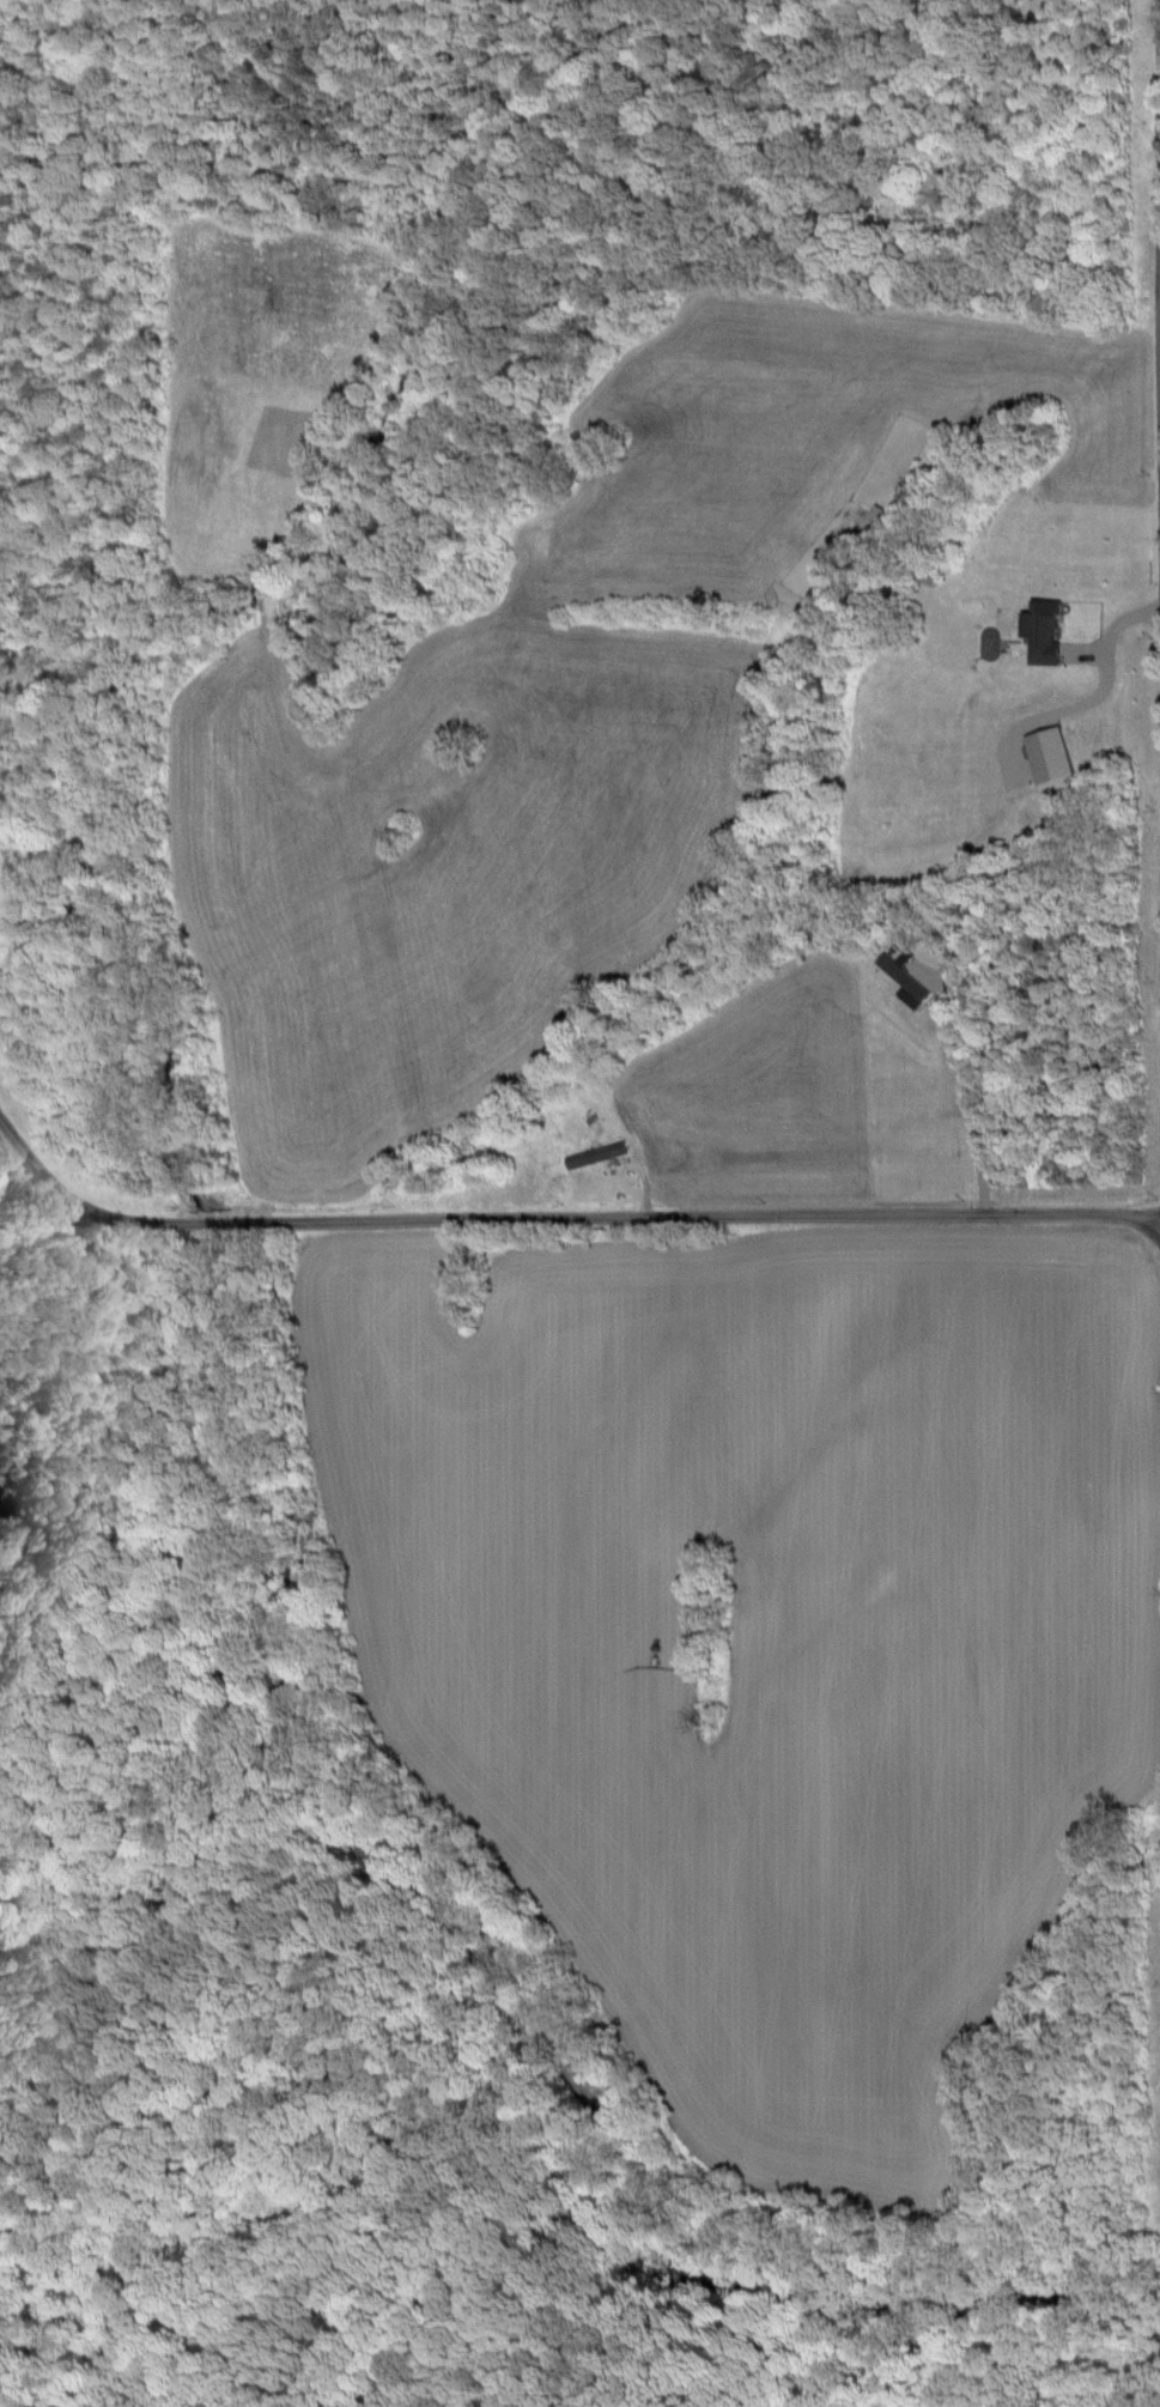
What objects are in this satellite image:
building: (1038, 630)
building: (1046, 758)
building: (900, 978)
road: (69, 1183)
road: (660, 1208)

